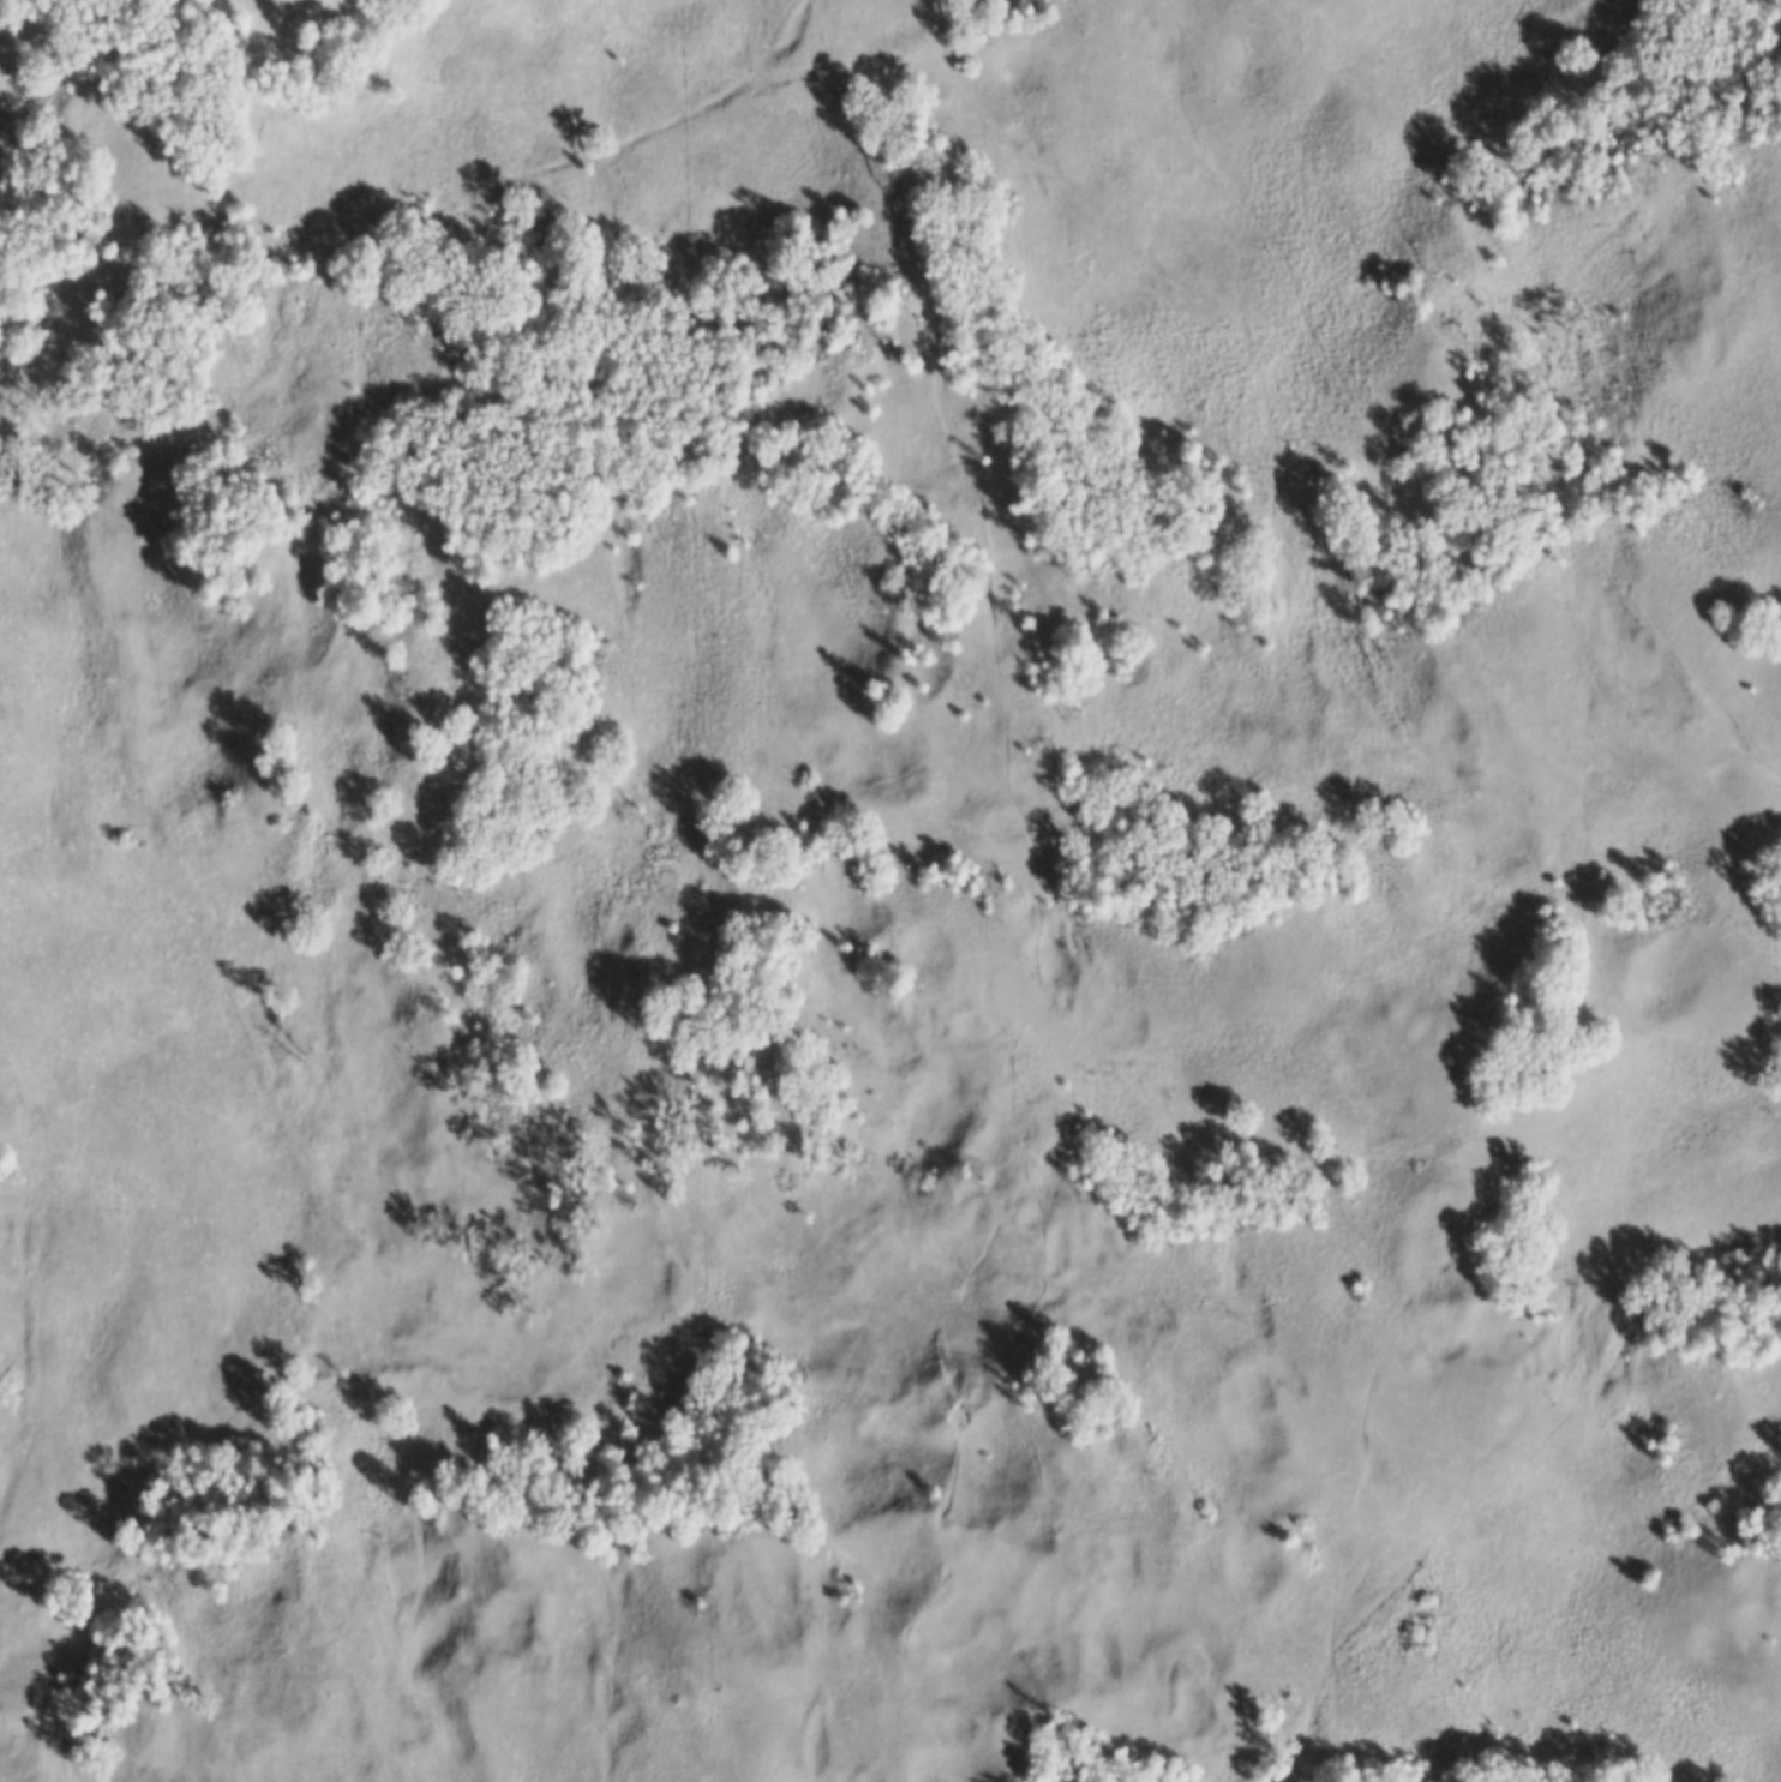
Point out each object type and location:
road: (1391, 1337)

